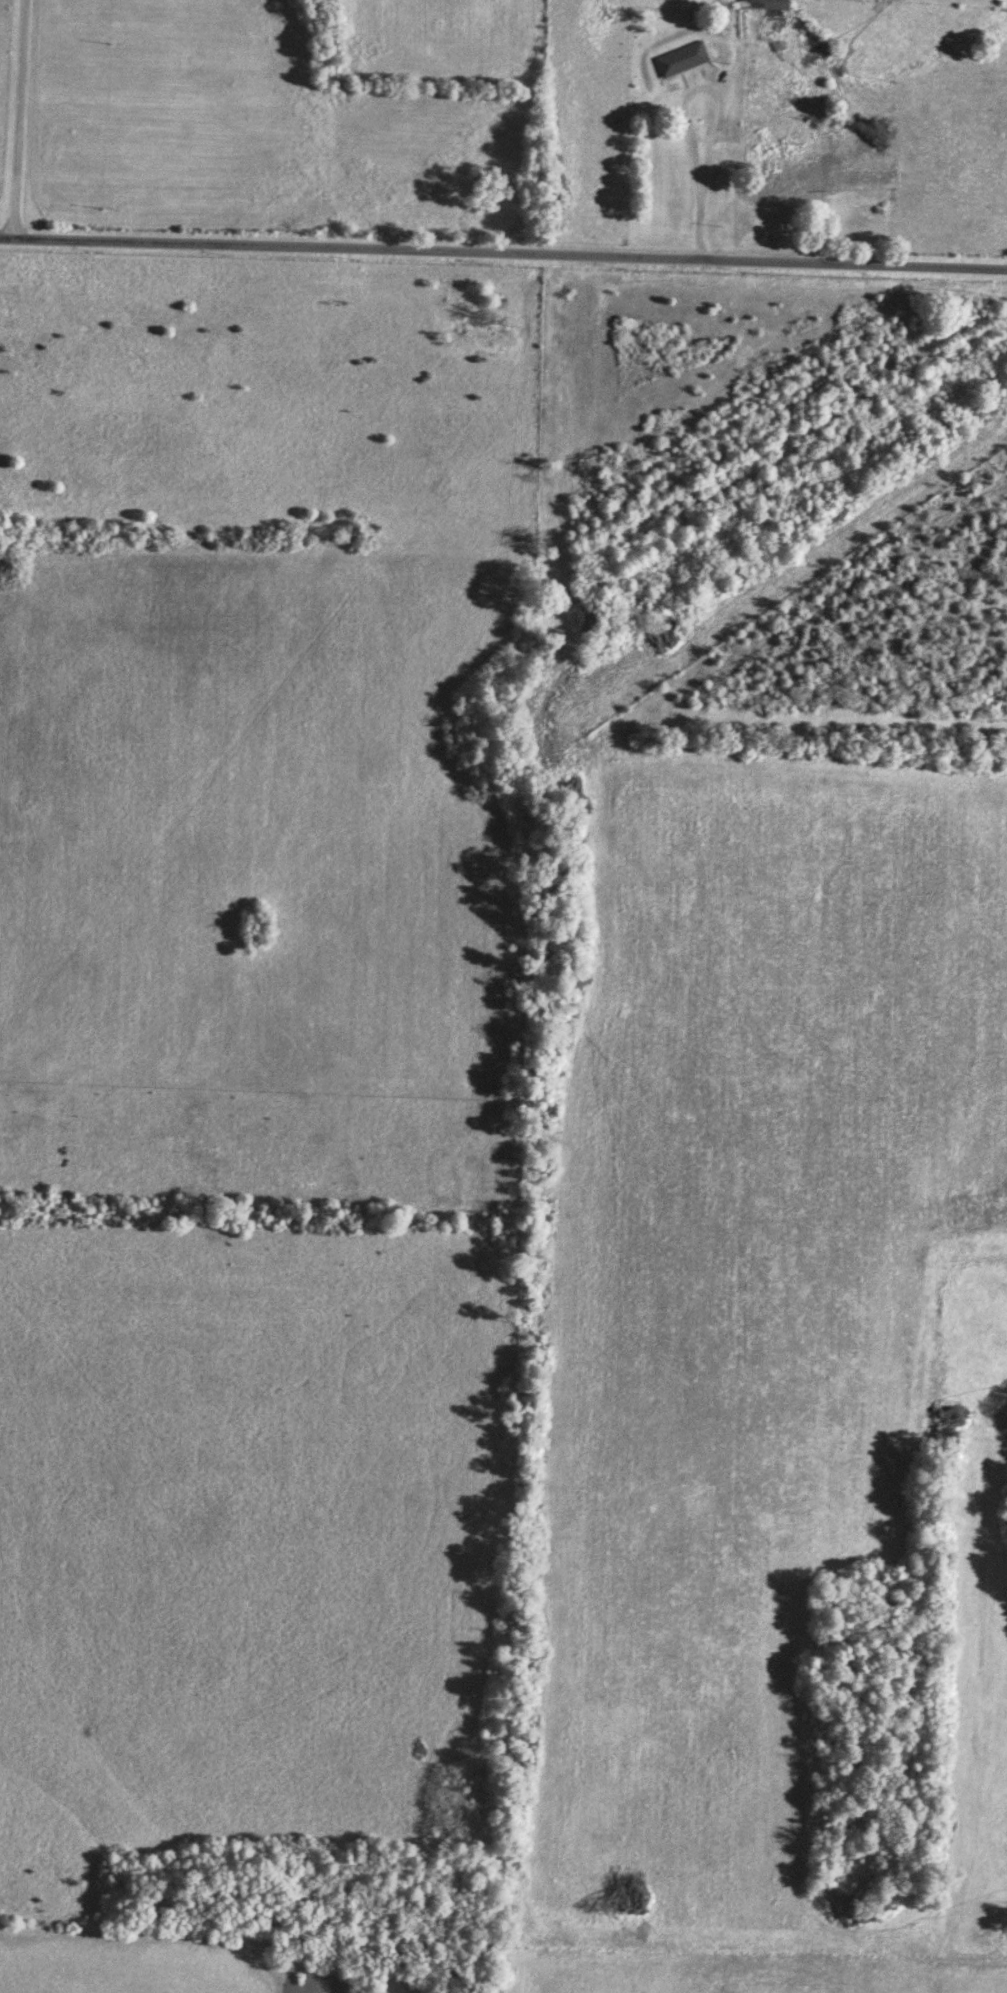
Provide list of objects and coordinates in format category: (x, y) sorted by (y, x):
building: (685, 58)
road: (18, 120)
road: (706, 170)
road: (503, 253)

